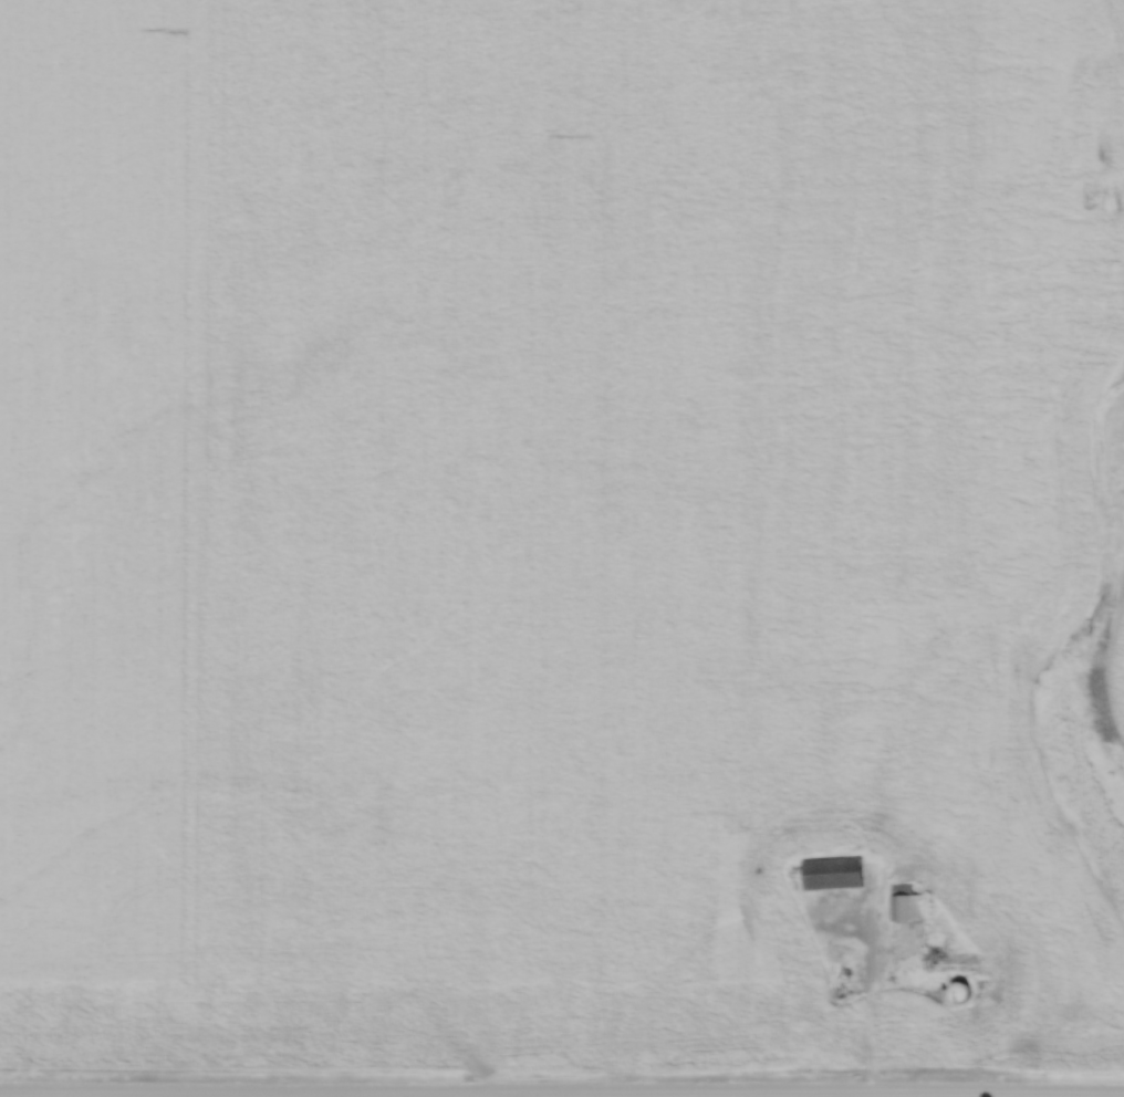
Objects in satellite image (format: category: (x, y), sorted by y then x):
building: (834, 873)
building: (908, 903)
building: (959, 960)
building: (965, 991)
building: (844, 992)
road: (871, 1000)
road: (562, 1091)

